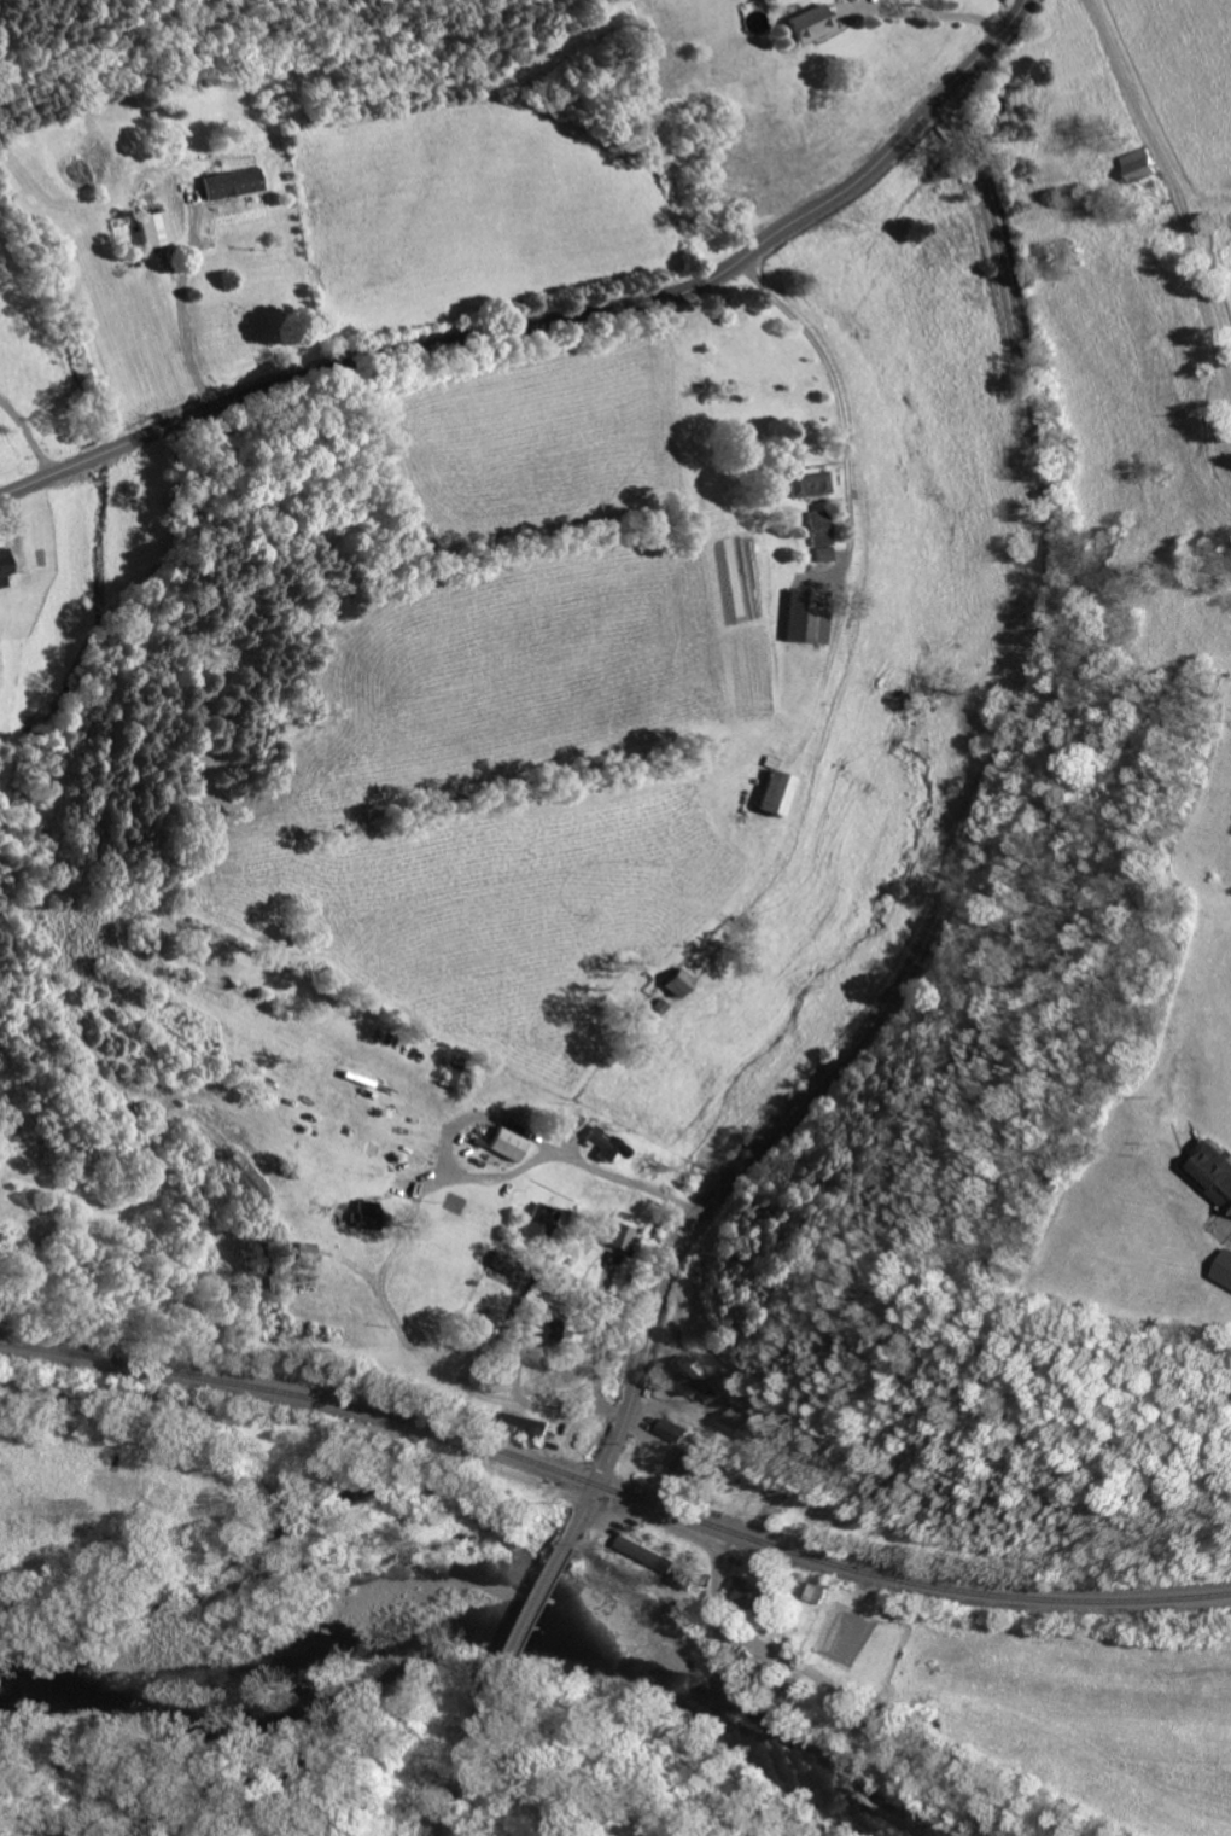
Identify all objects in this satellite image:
road: (930, 17)
building: (816, 22)
road: (987, 47)
building: (237, 182)
road: (1174, 192)
road: (185, 313)
road: (496, 332)
road: (27, 431)
building: (813, 480)
road: (854, 488)
building: (824, 534)
building: (7, 561)
building: (811, 616)
building: (781, 792)
road: (965, 849)
building: (685, 981)
building: (613, 1142)
building: (517, 1143)
building: (1214, 1172)
building: (250, 1176)
building: (374, 1213)
building: (546, 1219)
building: (628, 1234)
road: (402, 1236)
building: (507, 1259)
building: (1225, 1269)
building: (552, 1331)
building: (694, 1377)
road: (297, 1418)
building: (735, 1422)
building: (670, 1429)
building: (688, 1465)
railway: (612, 1494)
road: (711, 1552)
building: (753, 1593)
road: (533, 1615)
road: (459, 1773)

